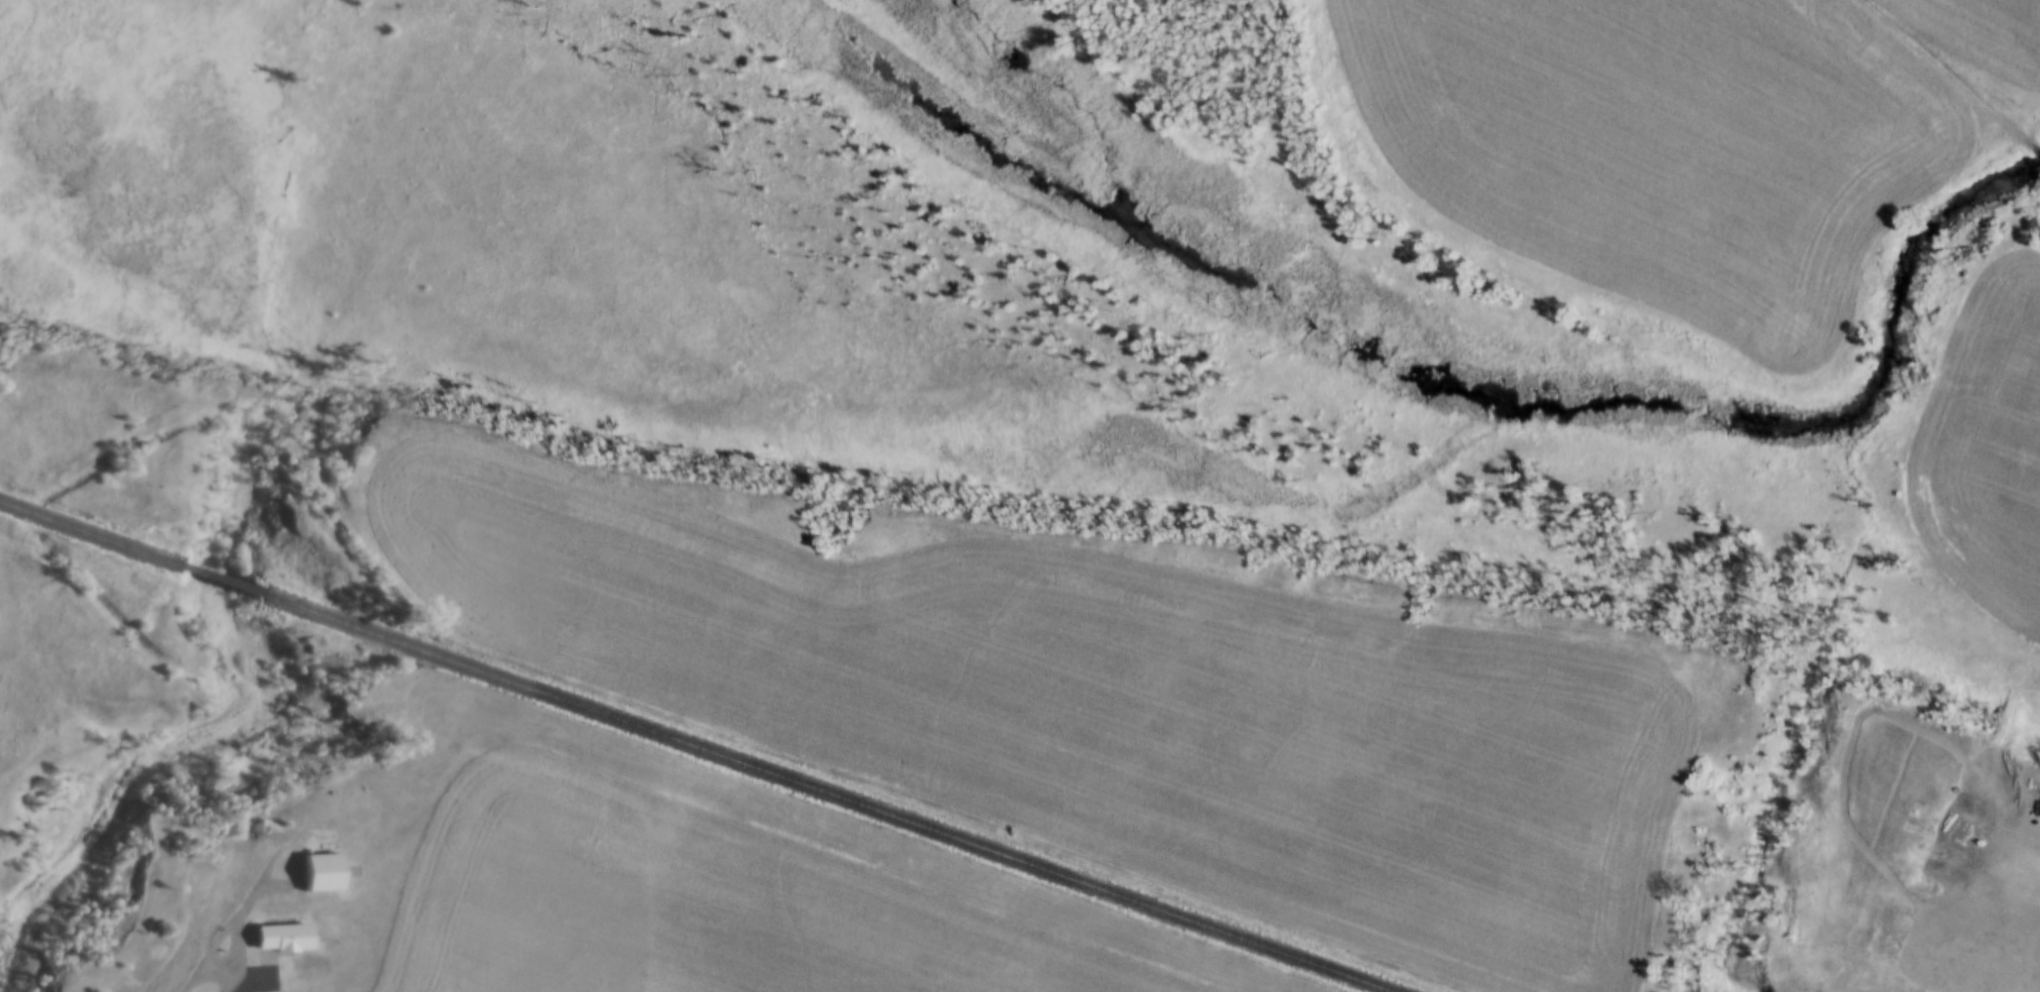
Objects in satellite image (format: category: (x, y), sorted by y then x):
road: (1953, 78)
railway: (91, 533)
railway: (224, 580)
railway: (827, 795)
building: (327, 874)
road: (220, 933)
building: (281, 944)
road: (258, 980)

